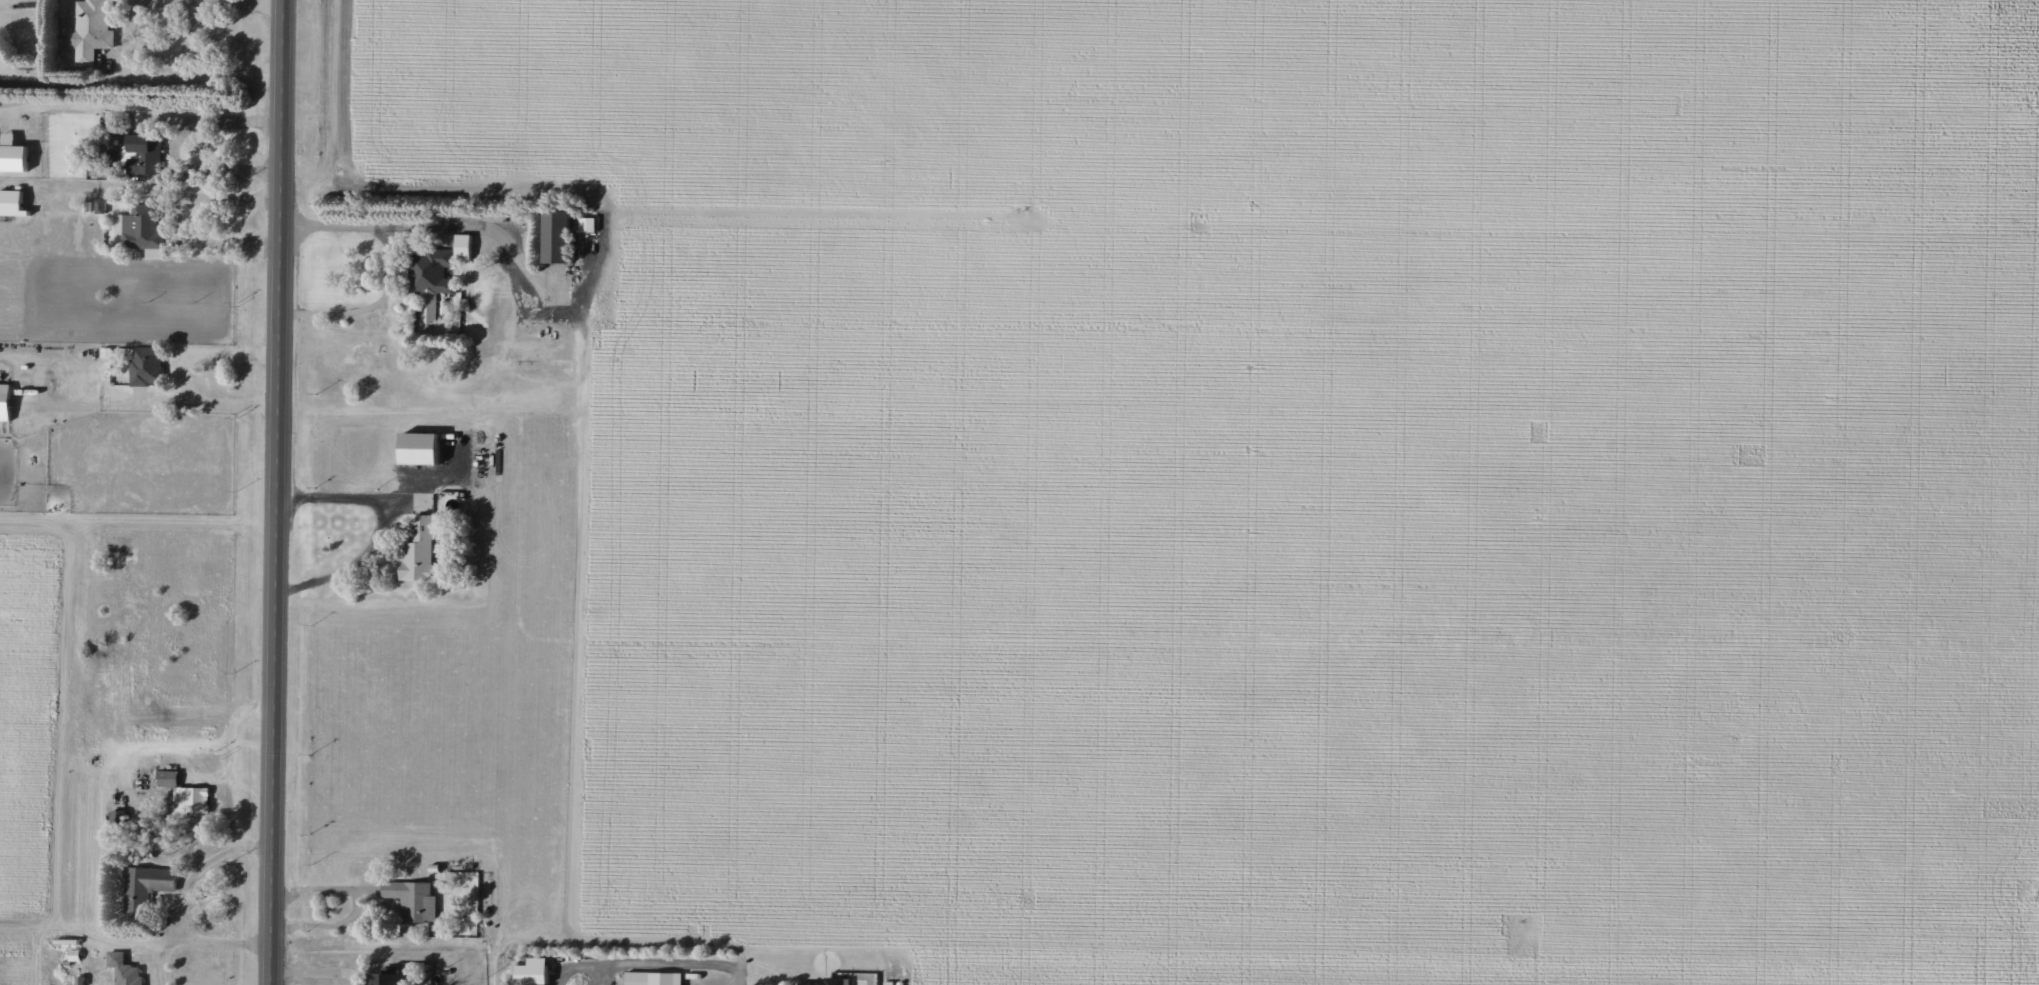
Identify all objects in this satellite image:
building: (94, 31)
road: (126, 37)
building: (144, 153)
building: (12, 154)
building: (10, 203)
building: (99, 206)
road: (180, 220)
building: (587, 224)
building: (141, 227)
building: (554, 236)
building: (461, 246)
building: (153, 253)
road: (388, 274)
building: (429, 278)
road: (205, 353)
building: (143, 366)
building: (3, 401)
road: (152, 403)
road: (280, 492)
road: (381, 528)
building: (417, 552)
building: (184, 794)
building: (146, 883)
road: (184, 885)
building: (411, 900)
road: (356, 904)
road: (220, 941)
building: (123, 969)
road: (318, 971)
building: (529, 972)
building: (650, 978)
building: (384, 979)
building: (78, 980)
road: (744, 980)
building: (835, 980)

